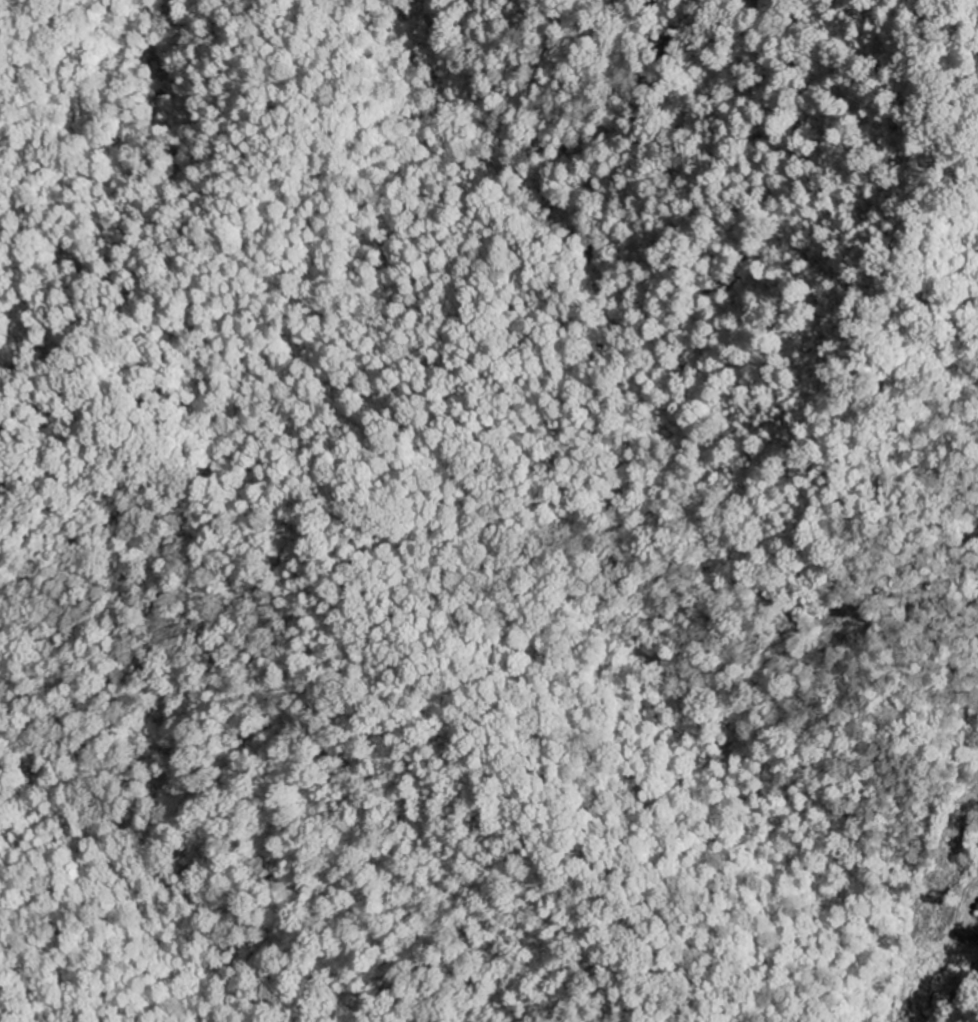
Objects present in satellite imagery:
road: (853, 876)
road: (959, 998)

